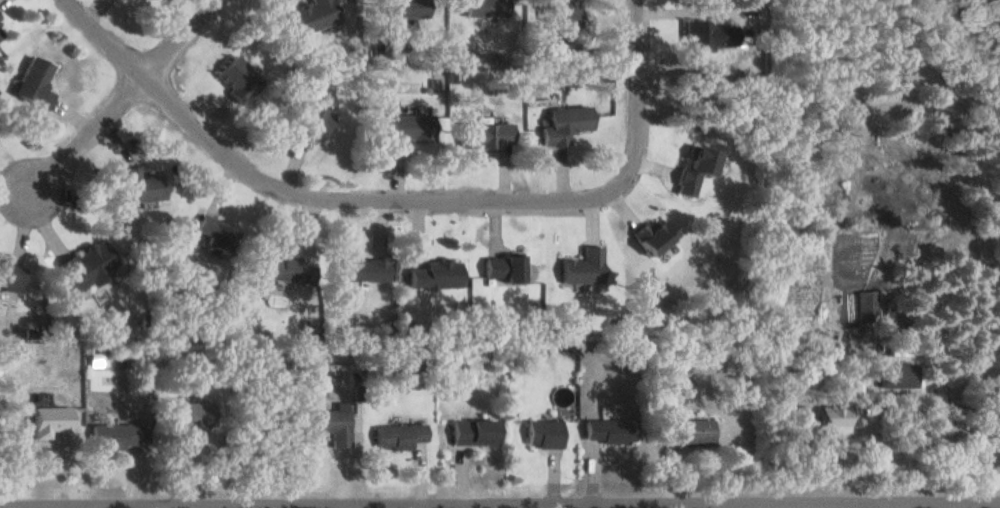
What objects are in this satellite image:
building: (483, 7)
building: (403, 8)
building: (557, 12)
building: (311, 14)
building: (0, 29)
building: (707, 33)
building: (235, 77)
building: (31, 82)
road: (115, 99)
road: (631, 99)
building: (310, 120)
building: (562, 123)
building: (405, 129)
building: (482, 133)
building: (693, 168)
building: (138, 184)
road: (300, 195)
building: (213, 232)
building: (652, 235)
building: (82, 265)
building: (580, 265)
building: (500, 266)
building: (284, 268)
building: (359, 268)
building: (9, 273)
building: (433, 273)
building: (864, 305)
building: (895, 374)
building: (189, 417)
building: (48, 420)
building: (328, 424)
building: (607, 429)
building: (685, 429)
building: (471, 431)
building: (542, 432)
building: (114, 434)
building: (397, 435)
road: (499, 499)
road: (738, 504)

